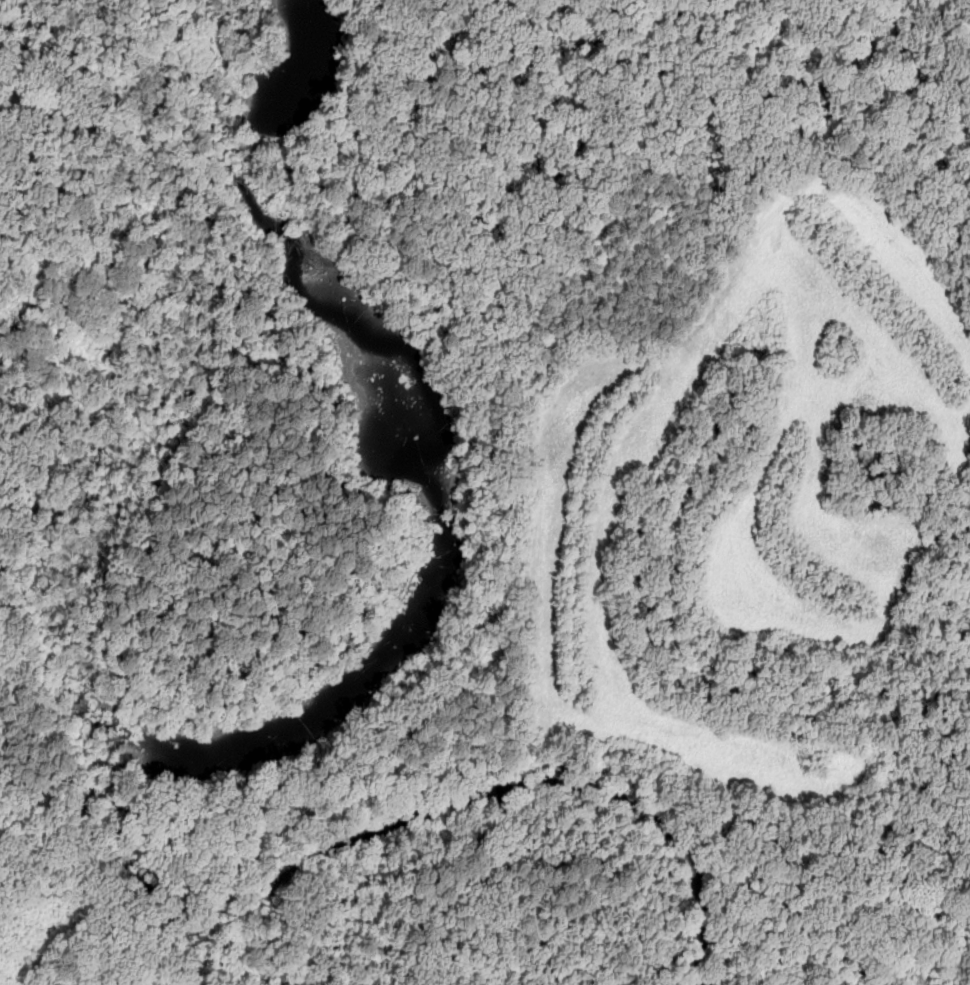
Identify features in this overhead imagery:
road: (204, 950)

